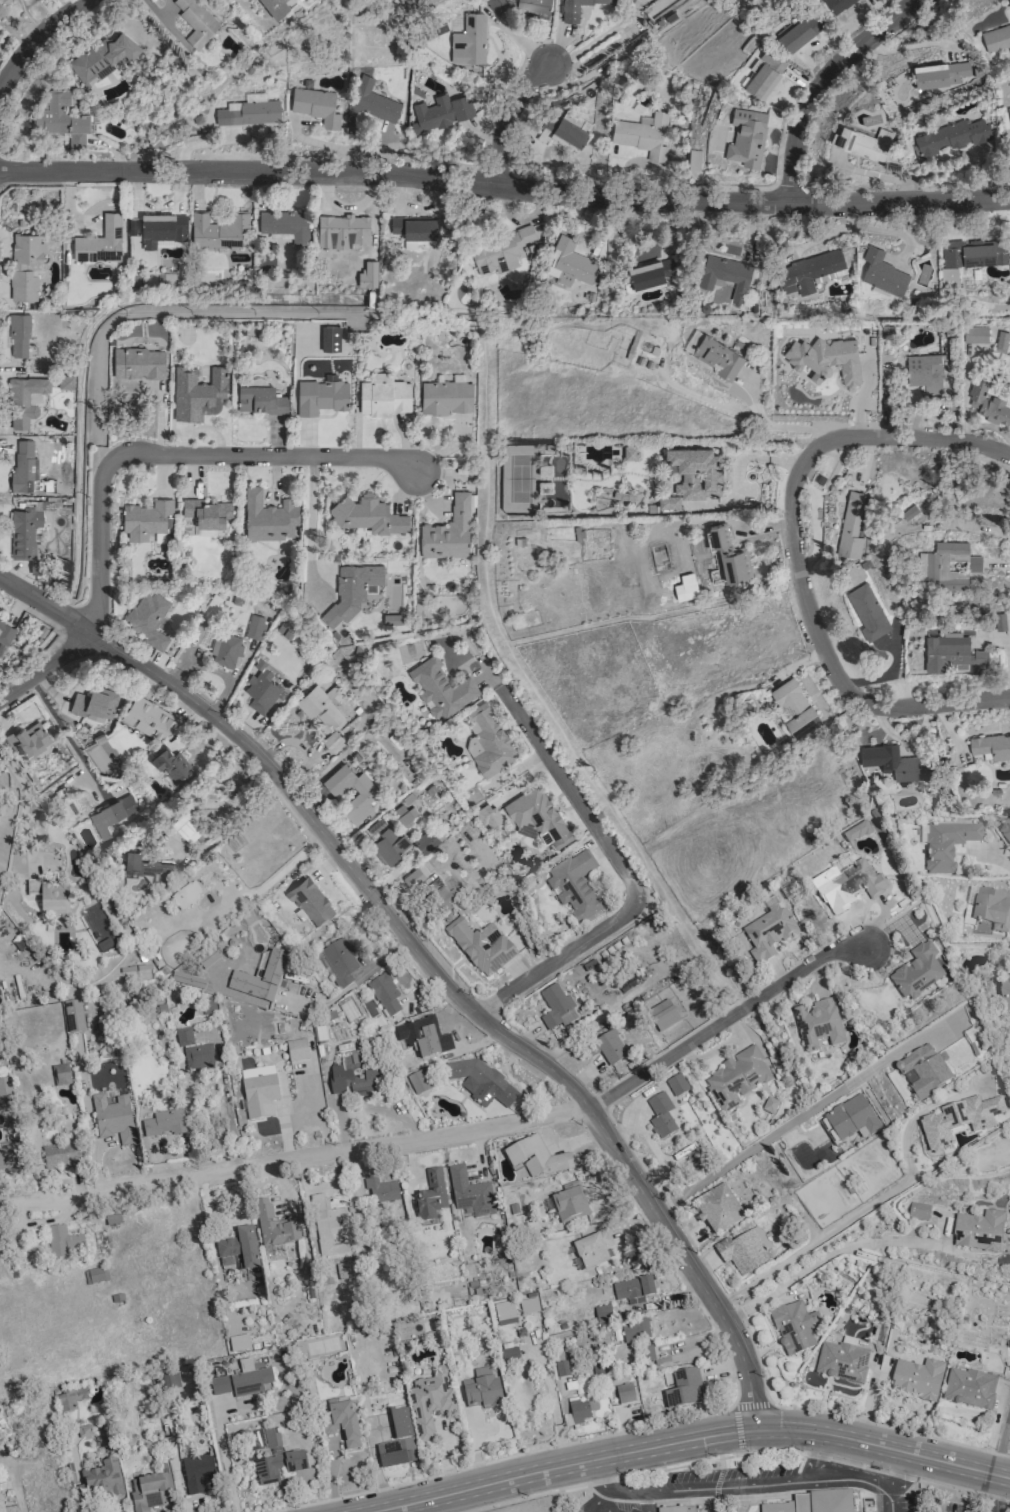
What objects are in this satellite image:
building: (299, 0)
building: (837, 5)
building: (521, 6)
building: (275, 7)
building: (578, 8)
building: (196, 22)
building: (800, 30)
road: (602, 36)
building: (996, 38)
road: (35, 41)
building: (471, 41)
building: (101, 57)
building: (940, 72)
building: (765, 74)
road: (825, 84)
building: (255, 98)
building: (373, 102)
building: (316, 107)
building: (1009, 111)
building: (441, 113)
building: (248, 114)
road: (513, 118)
building: (61, 119)
building: (643, 135)
building: (951, 135)
building: (747, 136)
building: (864, 141)
road: (505, 186)
building: (285, 225)
building: (345, 225)
building: (164, 226)
building: (415, 228)
building: (218, 231)
building: (100, 242)
building: (501, 251)
building: (974, 252)
building: (570, 264)
building: (26, 266)
building: (810, 270)
building: (883, 271)
building: (651, 273)
building: (950, 273)
building: (726, 275)
building: (975, 335)
building: (19, 336)
building: (330, 338)
building: (1001, 342)
building: (714, 354)
building: (826, 358)
building: (139, 363)
building: (924, 373)
building: (65, 382)
building: (198, 393)
building: (322, 395)
building: (384, 397)
building: (446, 397)
building: (26, 399)
building: (261, 400)
building: (988, 404)
road: (775, 427)
road: (172, 458)
road: (759, 458)
building: (24, 467)
building: (696, 472)
building: (669, 501)
road: (951, 510)
building: (208, 515)
building: (367, 515)
building: (268, 517)
building: (146, 519)
road: (307, 520)
building: (851, 526)
building: (448, 532)
building: (25, 533)
road: (800, 558)
building: (947, 562)
building: (36, 566)
building: (352, 591)
road: (53, 609)
building: (867, 610)
building: (148, 618)
building: (999, 622)
building: (255, 628)
building: (5, 633)
building: (226, 650)
building: (951, 652)
building: (441, 688)
building: (262, 689)
building: (95, 704)
building: (322, 705)
building: (795, 707)
building: (149, 718)
building: (28, 740)
road: (68, 740)
building: (332, 741)
building: (488, 741)
building: (991, 746)
building: (897, 763)
building: (171, 764)
building: (366, 796)
road: (24, 804)
building: (111, 813)
building: (402, 815)
building: (488, 815)
building: (538, 815)
building: (187, 826)
building: (856, 833)
building: (1005, 833)
building: (426, 842)
building: (947, 845)
building: (390, 846)
road: (1005, 863)
building: (150, 869)
road: (277, 876)
road: (624, 876)
building: (415, 877)
building: (851, 885)
building: (33, 886)
building: (574, 886)
building: (185, 895)
building: (53, 900)
building: (310, 902)
building: (986, 910)
building: (767, 934)
building: (480, 945)
building: (207, 959)
building: (339, 961)
road: (432, 962)
building: (917, 972)
building: (270, 975)
building: (178, 978)
road: (350, 985)
building: (1004, 993)
building: (384, 994)
building: (208, 1006)
building: (555, 1008)
building: (72, 1016)
building: (662, 1016)
road: (727, 1020)
building: (818, 1026)
building: (610, 1047)
building: (296, 1050)
building: (193, 1052)
building: (923, 1073)
building: (60, 1074)
building: (736, 1078)
building: (417, 1082)
building: (355, 1083)
building: (480, 1083)
building: (676, 1084)
building: (5, 1091)
building: (258, 1092)
road: (228, 1117)
building: (113, 1118)
building: (662, 1119)
building: (850, 1119)
building: (958, 1122)
building: (164, 1123)
road: (771, 1137)
building: (7, 1155)
road: (292, 1156)
building: (61, 1157)
building: (535, 1158)
building: (381, 1191)
building: (469, 1193)
building: (430, 1197)
building: (569, 1203)
building: (717, 1209)
building: (918, 1211)
road: (838, 1224)
building: (273, 1225)
building: (328, 1226)
building: (978, 1231)
building: (62, 1241)
building: (238, 1249)
building: (592, 1249)
building: (744, 1250)
road: (820, 1259)
building: (95, 1276)
building: (633, 1289)
building: (528, 1306)
building: (504, 1313)
building: (602, 1314)
building: (793, 1327)
building: (634, 1330)
building: (238, 1343)
building: (509, 1356)
building: (841, 1361)
building: (561, 1368)
building: (917, 1379)
building: (170, 1381)
building: (242, 1381)
building: (684, 1388)
building: (969, 1388)
building: (481, 1390)
building: (624, 1393)
building: (69, 1399)
building: (430, 1401)
building: (576, 1412)
building: (340, 1421)
road: (1001, 1438)
building: (271, 1439)
building: (397, 1441)
road: (883, 1448)
road: (732, 1454)
road: (815, 1456)
road: (225, 1462)
building: (277, 1467)
road: (557, 1469)
road: (902, 1472)
building: (197, 1473)
building: (101, 1480)
road: (737, 1485)
building: (149, 1492)
road: (995, 1493)
road: (596, 1501)
road: (608, 1501)
road: (897, 1501)
road: (644, 1502)
building: (816, 1503)
building: (8, 1508)
building: (675, 1509)

